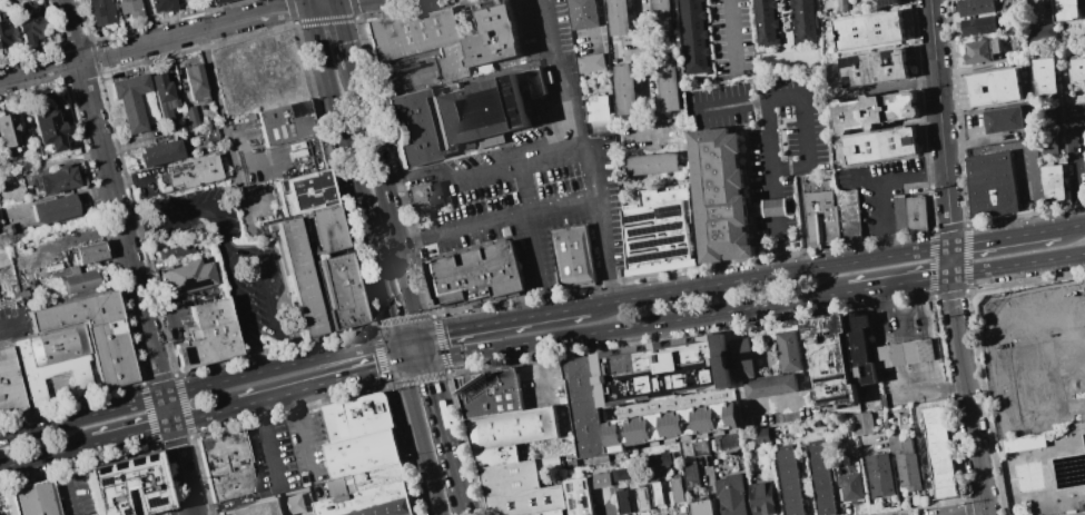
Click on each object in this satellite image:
road: (346, 0)
building: (215, 1)
road: (335, 1)
rooftop solar panel: (889, 1)
road: (310, 2)
building: (886, 2)
road: (324, 3)
building: (161, 4)
building: (1084, 4)
building: (840, 6)
building: (975, 7)
building: (128, 8)
building: (1065, 10)
rooftop solar panel: (96, 11)
building: (100, 11)
building: (582, 13)
building: (661, 16)
road: (256, 17)
building: (619, 17)
building: (802, 20)
building: (28, 22)
building: (765, 22)
road: (601, 23)
building: (978, 26)
building: (867, 30)
building: (1039, 31)
building: (410, 32)
building: (2, 33)
road: (344, 34)
building: (492, 34)
road: (732, 34)
building: (692, 37)
parking lot: (731, 39)
building: (993, 47)
building: (977, 51)
road: (100, 55)
building: (592, 63)
building: (874, 68)
building: (1077, 69)
building: (422, 70)
road: (644, 70)
road: (563, 73)
building: (1045, 77)
building: (195, 81)
building: (668, 86)
building: (994, 87)
building: (625, 90)
building: (162, 95)
building: (130, 100)
road: (754, 101)
road: (336, 103)
building: (599, 109)
building: (874, 111)
building: (191, 116)
building: (462, 116)
building: (1004, 120)
building: (287, 122)
building: (48, 127)
parking lot: (770, 127)
building: (1084, 130)
building: (9, 131)
road: (228, 132)
building: (209, 133)
building: (1028, 135)
road: (941, 137)
building: (879, 145)
parking lot: (1073, 145)
road: (807, 148)
building: (1048, 148)
road: (986, 149)
building: (160, 152)
road: (539, 159)
building: (653, 164)
road: (1073, 165)
building: (193, 172)
parking lot: (535, 174)
building: (58, 179)
building: (990, 182)
building: (1053, 182)
road: (877, 185)
road: (772, 187)
road: (1034, 187)
building: (310, 192)
building: (434, 192)
parking lot: (880, 192)
road: (116, 197)
building: (718, 198)
road: (388, 200)
building: (775, 208)
building: (55, 209)
rooftop solar panel: (670, 209)
building: (915, 211)
road: (190, 212)
building: (848, 215)
rooftop solar panel: (639, 216)
building: (821, 217)
road: (490, 224)
road: (1072, 226)
rooftop solar panel: (653, 228)
building: (331, 231)
building: (659, 232)
road: (1005, 237)
rooftop solar panel: (657, 241)
building: (174, 251)
road: (234, 251)
road: (603, 251)
building: (88, 252)
rooftop solar panel: (661, 255)
building: (575, 256)
building: (3, 258)
parking lot: (230, 261)
road: (1018, 264)
road: (534, 265)
road: (378, 271)
building: (187, 276)
building: (479, 276)
road: (769, 276)
building: (79, 280)
building: (299, 280)
road: (899, 283)
building: (344, 293)
road: (504, 320)
road: (12, 324)
road: (638, 325)
building: (760, 330)
building: (98, 335)
building: (208, 335)
traffic signals: (423, 335)
road: (408, 337)
traffic signals: (395, 340)
road: (425, 346)
building: (858, 349)
building: (788, 350)
road: (397, 351)
building: (902, 353)
traffic signals: (428, 358)
building: (740, 358)
road: (414, 360)
building: (828, 362)
traffic signals: (401, 364)
building: (56, 366)
building: (661, 369)
road: (540, 370)
road: (988, 373)
road: (805, 377)
road: (320, 384)
building: (10, 385)
parking lot: (541, 385)
building: (769, 385)
road: (197, 387)
building: (487, 393)
road: (967, 395)
building: (583, 405)
road: (999, 405)
road: (206, 415)
building: (358, 418)
road: (1004, 422)
building: (861, 423)
road: (444, 425)
building: (668, 425)
building: (511, 427)
road: (299, 429)
road: (132, 434)
building: (760, 435)
road: (420, 439)
building: (729, 440)
road: (267, 443)
building: (1023, 443)
parking lot: (309, 446)
building: (699, 447)
building: (938, 452)
building: (363, 454)
road: (47, 455)
road: (179, 455)
building: (494, 455)
rooftop solar panel: (146, 457)
parking lot: (270, 458)
rooftop solar panel: (131, 460)
building: (658, 460)
building: (904, 462)
building: (548, 464)
rooftop solar panel: (115, 465)
building: (228, 465)
rooftop solar panel: (97, 468)
building: (624, 473)
building: (879, 475)
rooftop solar panel: (114, 476)
building: (689, 476)
building: (379, 477)
rooftop solar panel: (99, 478)
building: (600, 479)
building: (819, 479)
building: (788, 482)
road: (67, 484)
rooftop solar panel: (584, 484)
building: (849, 486)
building: (130, 487)
rooftop solar panel: (145, 487)
rooftop solar panel: (161, 487)
rooftop solar panel: (570, 487)
building: (517, 489)
building: (675, 489)
building: (655, 494)
building: (730, 495)
building: (576, 496)
building: (642, 498)
building: (761, 498)
building: (39, 501)
rooftop solar panel: (148, 501)
building: (373, 502)
rooftop solar panel: (584, 502)
building: (622, 502)
road: (464, 503)
building: (9, 504)
building: (292, 504)
rooftop solar panel: (572, 504)
building: (700, 507)
building: (258, 508)
rooftop solar panel: (120, 512)
building: (536, 514)
building: (682, 514)
road: (980, 514)

